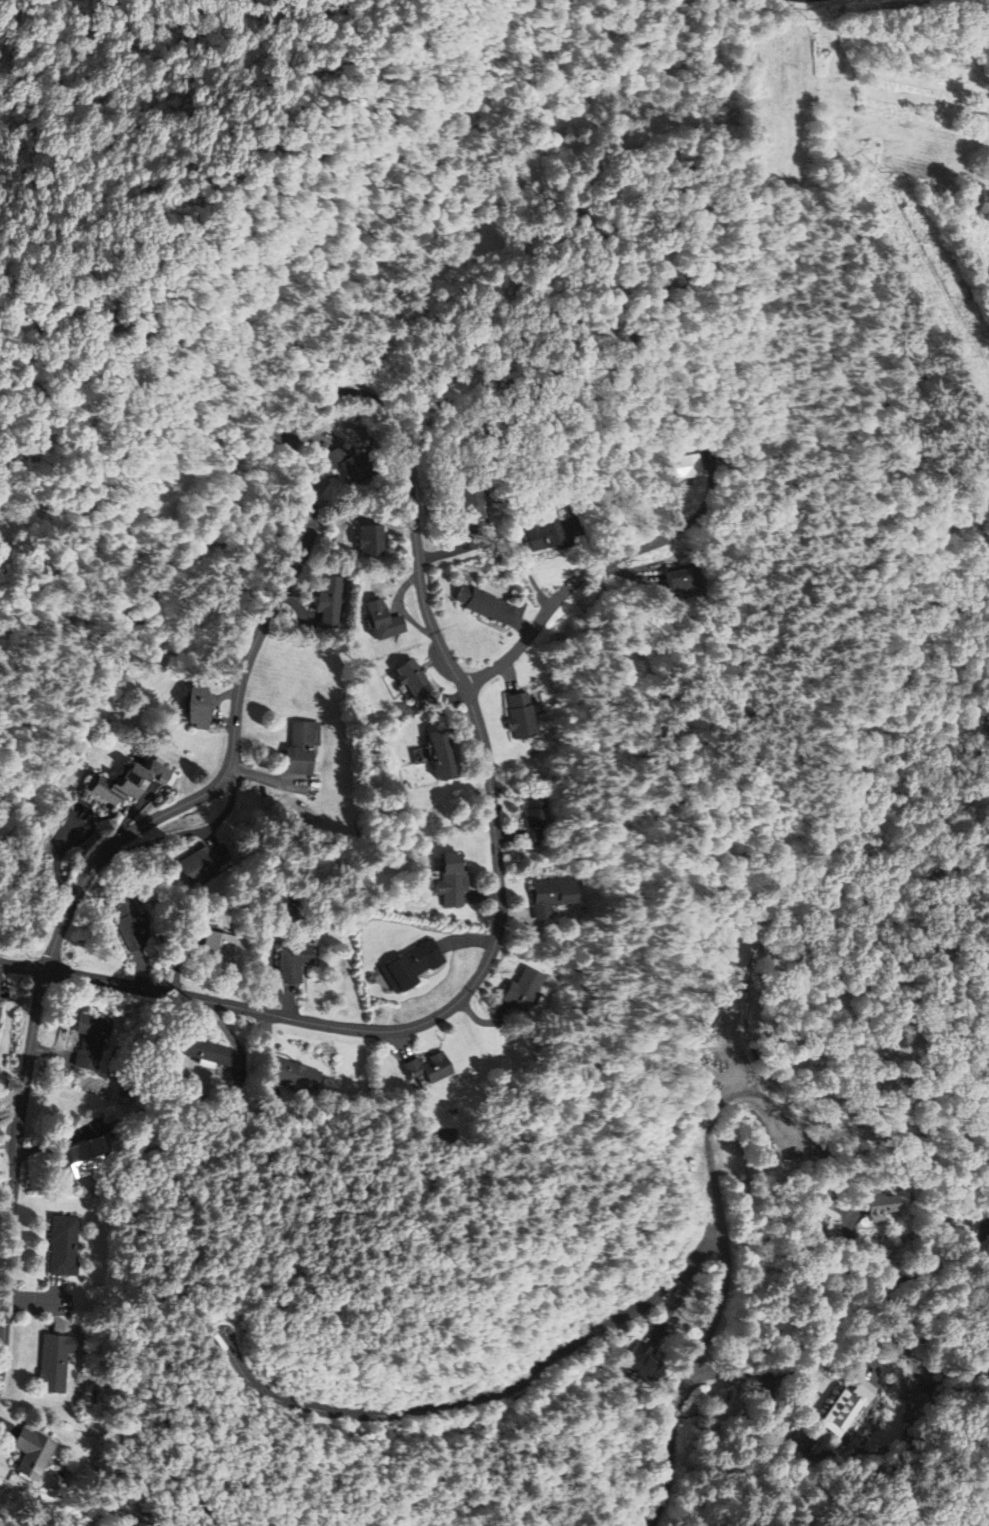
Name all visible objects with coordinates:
power tower: (804, 19)
power tower: (880, 171)
building: (983, 205)
building: (352, 465)
building: (683, 466)
building: (472, 501)
building: (549, 530)
building: (371, 540)
road: (417, 552)
building: (681, 579)
road: (563, 594)
building: (330, 599)
building: (483, 604)
building: (383, 620)
building: (414, 678)
building: (198, 706)
building: (520, 714)
building: (302, 746)
building: (442, 754)
building: (127, 783)
building: (533, 819)
building: (202, 862)
building: (452, 880)
building: (549, 894)
building: (128, 923)
building: (217, 949)
building: (294, 961)
building: (413, 964)
road: (23, 966)
building: (522, 989)
building: (0, 1013)
building: (92, 1039)
building: (206, 1049)
building: (428, 1067)
building: (296, 1073)
building: (88, 1156)
building: (679, 1159)
road: (15, 1165)
building: (881, 1204)
building: (63, 1244)
road: (857, 1262)
road: (674, 1304)
road: (842, 1313)
road: (825, 1353)
building: (54, 1361)
building: (643, 1361)
road: (690, 1378)
road: (483, 1396)
building: (848, 1406)
road: (783, 1429)
building: (31, 1452)

